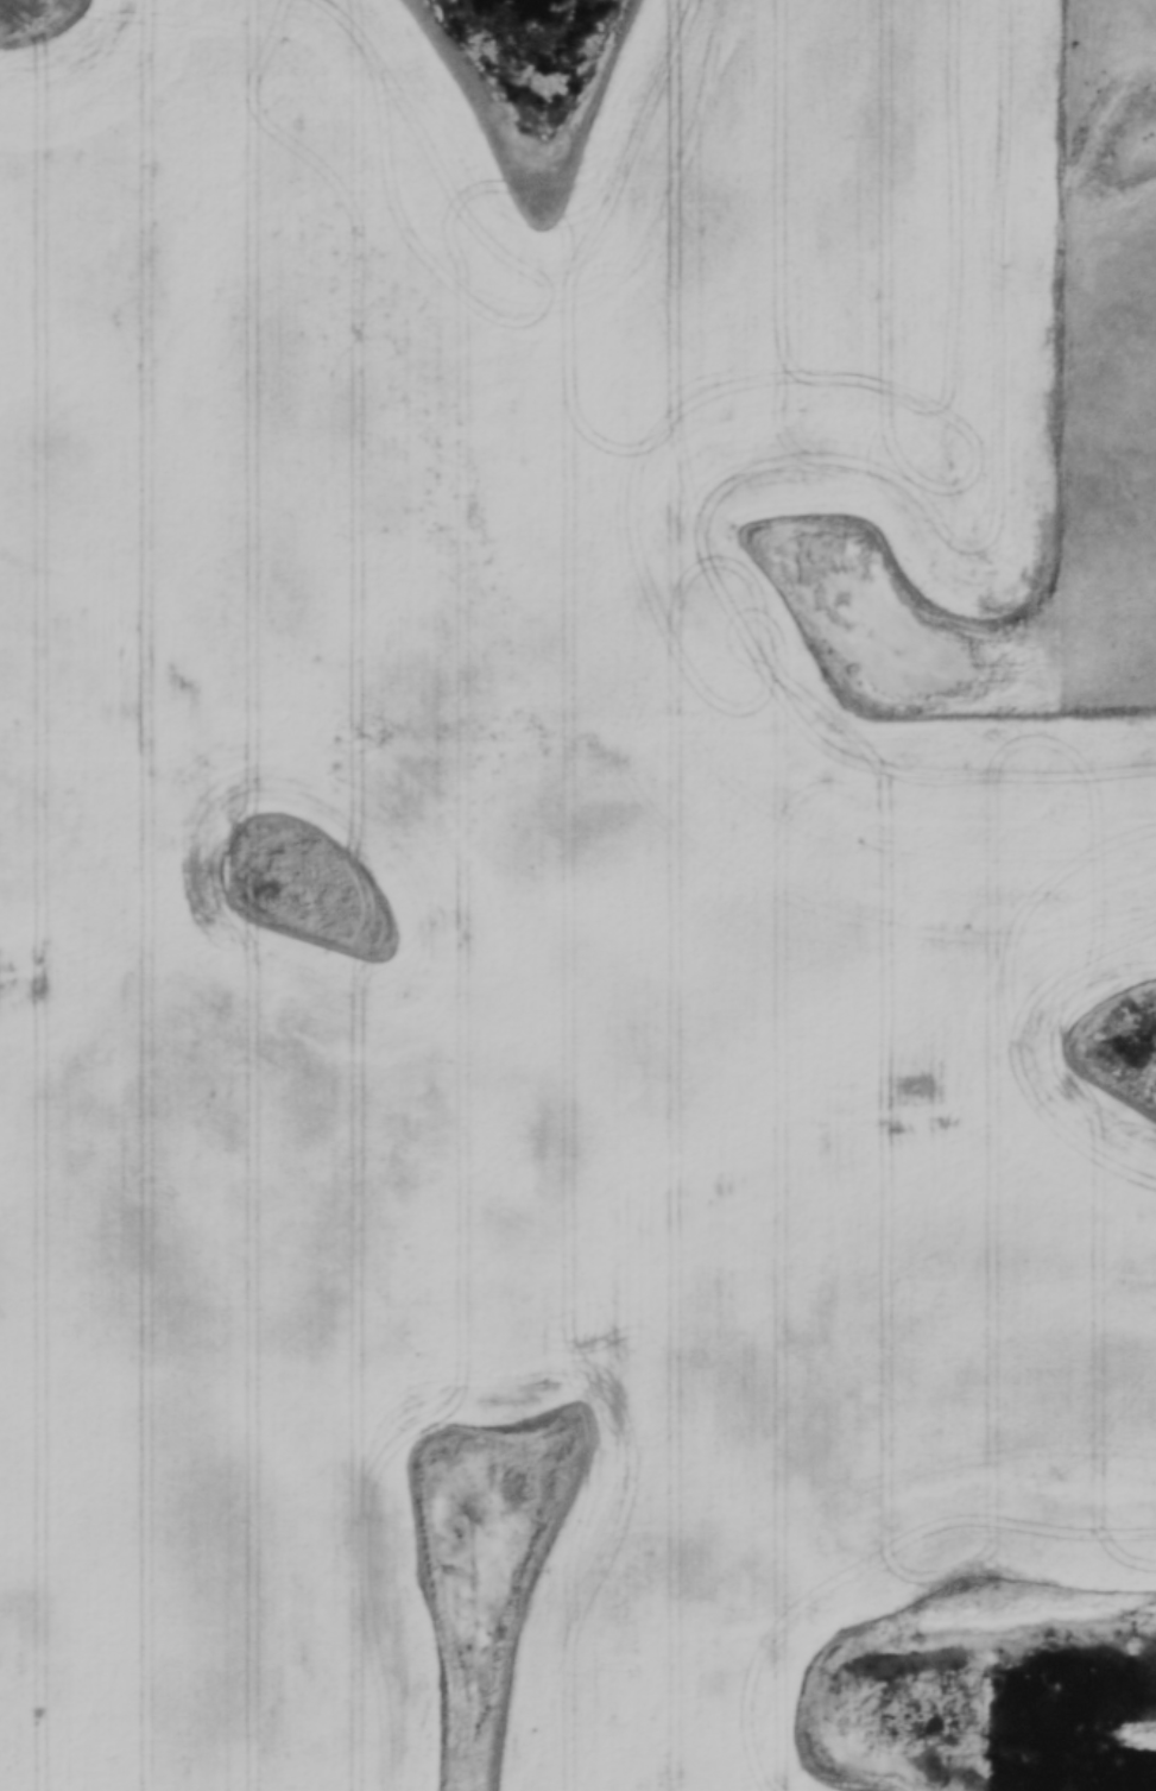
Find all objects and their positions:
building: (652, 1717)

